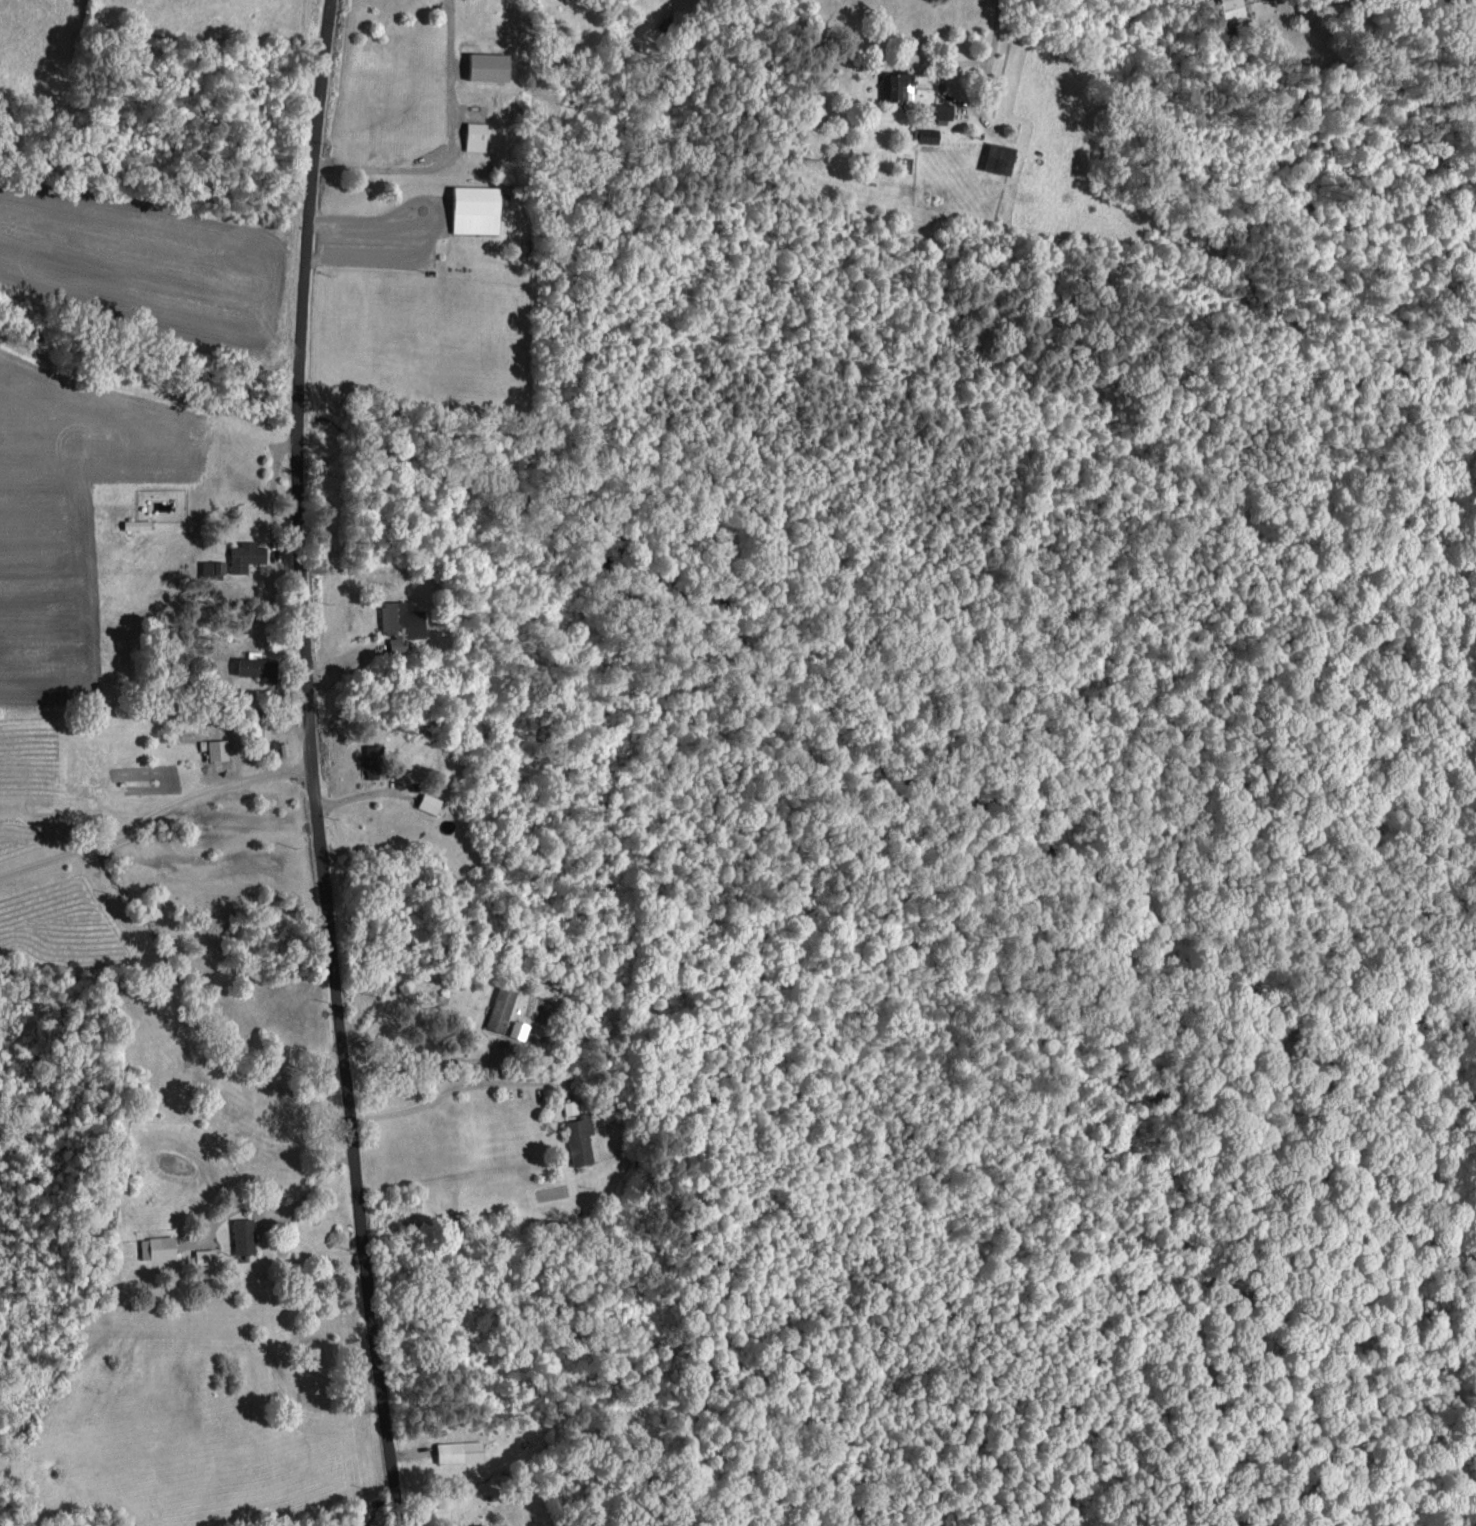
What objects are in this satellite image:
building: (1231, 10)
building: (480, 64)
building: (890, 84)
building: (938, 109)
building: (922, 133)
building: (471, 134)
building: (993, 157)
building: (468, 207)
building: (241, 554)
building: (209, 568)
building: (397, 618)
building: (244, 665)
building: (260, 731)
building: (214, 748)
road: (311, 764)
building: (423, 801)
building: (497, 1008)
road: (455, 1089)
building: (568, 1105)
building: (576, 1136)
building: (238, 1233)
building: (153, 1245)
building: (199, 1255)
building: (455, 1449)
building: (473, 1524)

